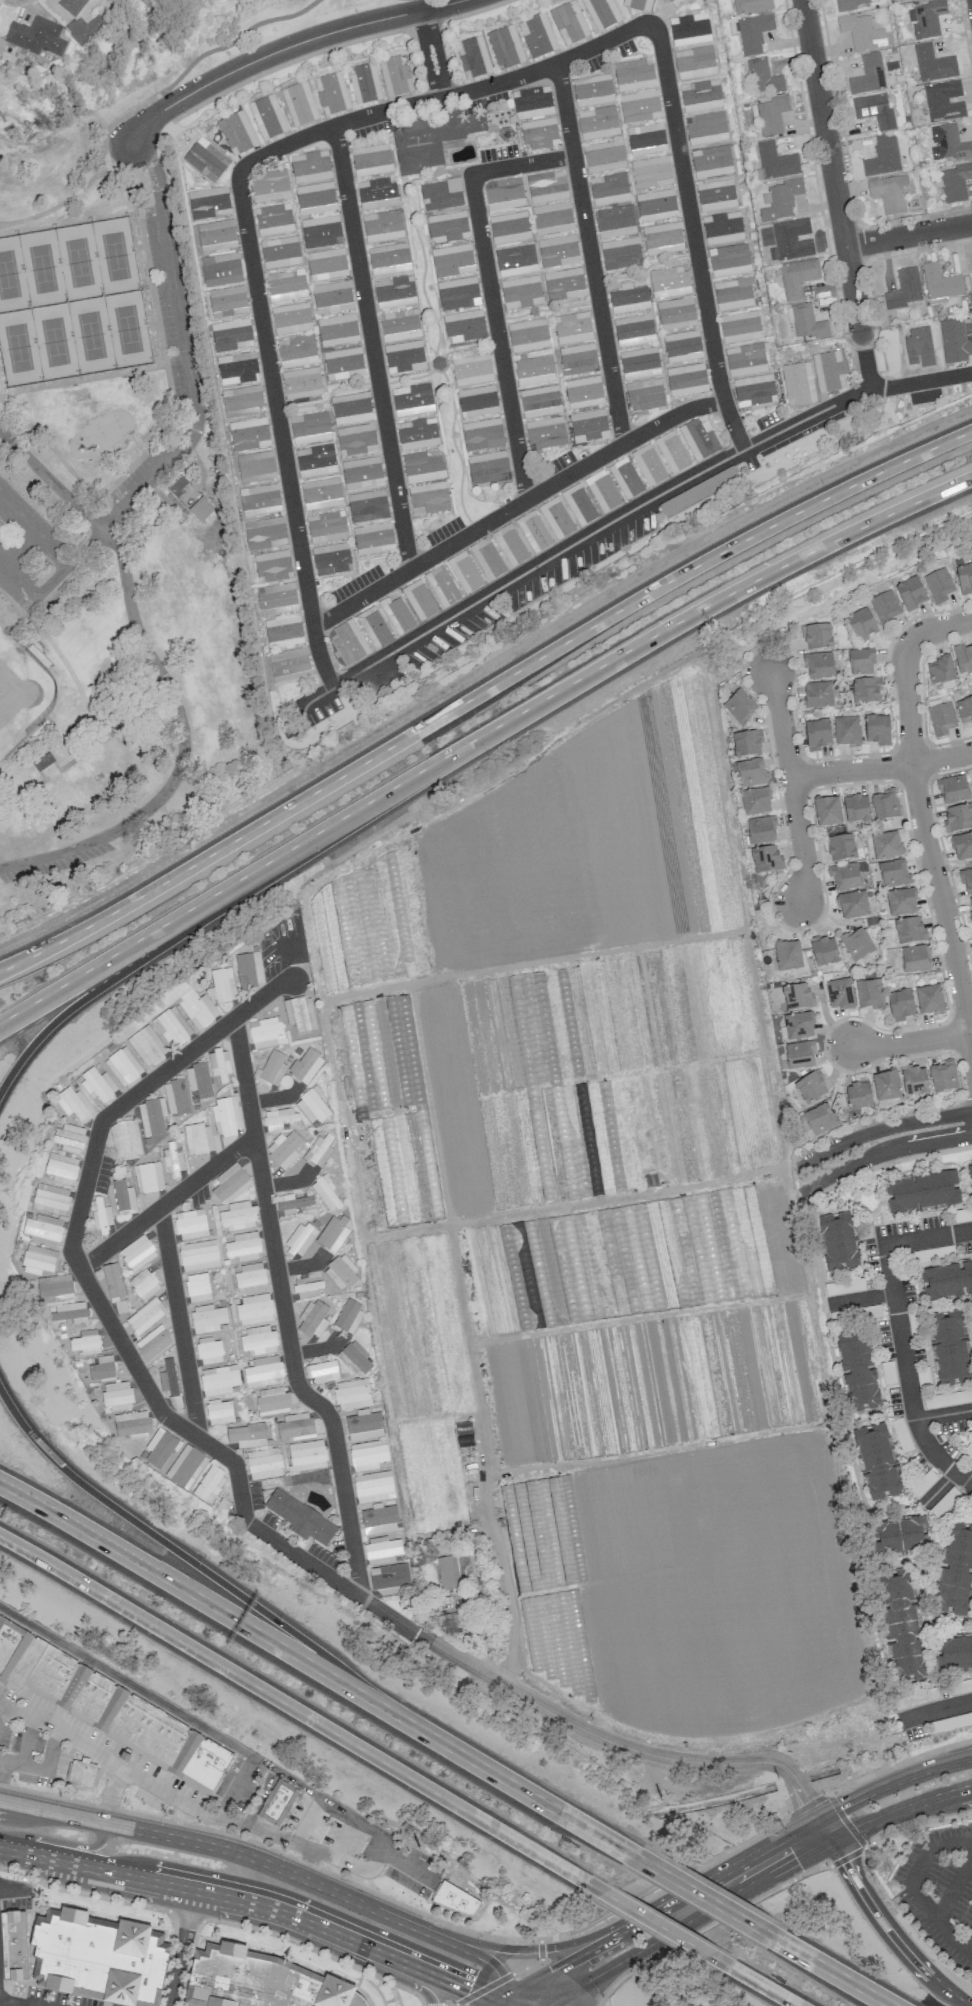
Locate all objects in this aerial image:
building: (675, 2)
building: (638, 4)
building: (849, 4)
building: (71, 6)
building: (751, 6)
building: (601, 13)
building: (926, 19)
building: (569, 23)
building: (84, 28)
building: (689, 29)
building: (861, 32)
building: (753, 33)
building: (537, 35)
building: (36, 37)
road: (231, 39)
road: (306, 39)
building: (505, 47)
road: (432, 53)
building: (473, 57)
building: (694, 62)
building: (933, 64)
building: (634, 75)
building: (869, 75)
building: (395, 77)
building: (762, 77)
building: (365, 83)
building: (593, 90)
building: (331, 93)
building: (700, 95)
building: (944, 101)
building: (532, 102)
building: (299, 104)
road: (406, 106)
building: (639, 106)
building: (873, 110)
building: (772, 115)
building: (267, 117)
building: (597, 123)
road: (145, 124)
building: (706, 128)
building: (236, 133)
building: (539, 133)
building: (430, 139)
building: (646, 139)
building: (947, 144)
building: (603, 156)
building: (882, 157)
building: (206, 160)
building: (371, 160)
building: (711, 161)
building: (775, 162)
building: (310, 167)
road: (100, 169)
building: (651, 172)
road: (832, 175)
building: (955, 182)
building: (269, 186)
building: (547, 187)
building: (609, 189)
building: (377, 193)
building: (888, 193)
building: (441, 194)
building: (503, 194)
building: (715, 195)
building: (315, 198)
building: (781, 200)
building: (209, 203)
building: (656, 205)
building: (552, 218)
building: (273, 220)
building: (614, 221)
building: (382, 226)
building: (447, 227)
building: (509, 227)
building: (722, 228)
building: (320, 231)
road: (908, 235)
building: (216, 236)
building: (662, 238)
building: (791, 240)
building: (557, 251)
building: (280, 252)
building: (620, 253)
park: (114, 254)
road: (591, 255)
building: (389, 259)
park: (78, 260)
building: (452, 260)
building: (516, 260)
building: (729, 260)
building: (326, 264)
park: (41, 266)
building: (220, 270)
building: (971, 273)
park: (11, 275)
building: (797, 277)
building: (939, 284)
building: (286, 285)
building: (564, 285)
building: (904, 289)
road: (492, 290)
building: (394, 292)
building: (521, 292)
building: (457, 293)
building: (733, 293)
building: (332, 297)
building: (628, 299)
building: (227, 302)
parking lot: (171, 307)
building: (676, 313)
building: (291, 318)
building: (807, 322)
building: (399, 325)
building: (464, 326)
park: (127, 327)
building: (572, 327)
building: (739, 327)
building: (337, 330)
building: (634, 330)
park: (90, 334)
building: (231, 335)
building: (528, 335)
park: (54, 340)
building: (954, 342)
building: (682, 346)
park: (18, 347)
building: (919, 347)
road: (374, 348)
building: (296, 351)
building: (404, 356)
building: (577, 359)
building: (745, 359)
building: (343, 363)
building: (639, 363)
building: (236, 368)
building: (472, 369)
building: (534, 369)
building: (828, 371)
building: (686, 380)
road: (920, 382)
building: (301, 383)
building: (798, 384)
building: (753, 390)
building: (583, 392)
building: (644, 395)
building: (242, 398)
building: (412, 399)
building: (477, 401)
building: (540, 401)
road: (172, 406)
building: (351, 408)
road: (195, 418)
building: (588, 426)
road: (734, 427)
building: (310, 428)
building: (417, 433)
building: (545, 433)
building: (248, 434)
building: (482, 434)
building: (699, 439)
building: (356, 440)
building: (672, 452)
building: (315, 460)
building: (256, 465)
building: (648, 465)
building: (422, 467)
building: (488, 468)
building: (361, 473)
park: (117, 477)
building: (625, 478)
building: (176, 485)
building: (602, 491)
building: (321, 494)
building: (428, 498)
building: (163, 499)
building: (259, 500)
building: (579, 505)
building: (367, 506)
building: (201, 509)
road: (514, 510)
building: (556, 518)
building: (326, 527)
road: (598, 530)
building: (533, 532)
building: (265, 533)
road: (32, 534)
building: (373, 539)
building: (510, 545)
parking lot: (24, 547)
building: (331, 559)
building: (487, 559)
building: (272, 566)
building: (464, 572)
building: (964, 579)
building: (938, 585)
building: (442, 586)
road: (847, 588)
building: (911, 593)
park: (835, 596)
building: (277, 599)
building: (419, 600)
building: (885, 607)
building: (397, 615)
building: (861, 624)
building: (373, 627)
road: (937, 628)
building: (283, 631)
road: (138, 632)
building: (817, 637)
building: (347, 644)
road: (762, 655)
road: (321, 659)
building: (963, 659)
building: (861, 662)
building: (289, 665)
building: (818, 665)
building: (940, 670)
road: (562, 690)
park: (16, 691)
road: (480, 691)
building: (866, 691)
building: (818, 695)
building: (738, 705)
road: (87, 709)
building: (941, 719)
building: (876, 729)
building: (847, 731)
building: (818, 734)
building: (746, 744)
building: (42, 762)
road: (881, 766)
building: (751, 772)
road: (791, 786)
building: (953, 789)
building: (755, 802)
building: (885, 805)
building: (856, 809)
building: (827, 811)
building: (958, 818)
building: (761, 830)
building: (886, 845)
building: (962, 846)
building: (841, 848)
road: (928, 853)
road: (50, 855)
parking lot: (52, 859)
building: (766, 859)
building: (893, 874)
building: (844, 876)
building: (966, 879)
building: (901, 902)
building: (853, 904)
building: (970, 905)
building: (909, 930)
building: (856, 944)
building: (824, 950)
building: (787, 955)
building: (915, 959)
building: (248, 969)
road: (83, 976)
building: (222, 985)
building: (839, 993)
building: (869, 994)
building: (797, 997)
building: (929, 1000)
building: (900, 1004)
road: (76, 1005)
building: (197, 1008)
building: (300, 1014)
building: (588, 1024)
building: (798, 1025)
building: (171, 1027)
building: (266, 1032)
road: (911, 1042)
building: (147, 1046)
building: (799, 1055)
building: (218, 1064)
building: (305, 1065)
building: (122, 1066)
building: (271, 1069)
building: (943, 1076)
building: (198, 1079)
building: (913, 1080)
building: (97, 1085)
building: (886, 1086)
building: (809, 1088)
building: (858, 1095)
building: (176, 1097)
building: (73, 1104)
building: (312, 1105)
building: (152, 1116)
building: (226, 1116)
building: (279, 1118)
building: (819, 1120)
road: (879, 1132)
building: (69, 1138)
building: (198, 1139)
building: (125, 1140)
building: (284, 1149)
building: (320, 1149)
road: (881, 1150)
building: (172, 1160)
building: (60, 1168)
building: (970, 1175)
building: (148, 1177)
building: (229, 1182)
building: (925, 1192)
building: (326, 1194)
building: (123, 1198)
building: (50, 1199)
road: (166, 1201)
building: (292, 1203)
building: (101, 1216)
building: (237, 1216)
building: (190, 1224)
building: (43, 1230)
building: (333, 1234)
building: (840, 1238)
building: (299, 1239)
crop: (596, 1242)
building: (243, 1247)
building: (137, 1253)
building: (198, 1255)
building: (38, 1260)
building: (341, 1272)
building: (250, 1278)
building: (762, 1282)
building: (948, 1282)
building: (144, 1284)
building: (113, 1286)
building: (197, 1287)
building: (55, 1288)
building: (307, 1290)
road: (93, 1294)
road: (860, 1298)
building: (254, 1309)
building: (70, 1312)
building: (348, 1315)
building: (145, 1316)
building: (207, 1318)
building: (312, 1319)
road: (178, 1320)
road: (900, 1334)
building: (257, 1340)
building: (85, 1342)
building: (153, 1343)
road: (290, 1347)
building: (951, 1349)
building: (208, 1350)
building: (355, 1358)
building: (102, 1368)
building: (263, 1372)
building: (322, 1372)
building: (859, 1372)
building: (168, 1378)
building: (218, 1380)
building: (352, 1394)
building: (116, 1396)
building: (272, 1401)
building: (219, 1412)
road: (943, 1414)
building: (131, 1424)
building: (361, 1424)
building: (295, 1426)
building: (247, 1435)
building: (160, 1449)
building: (367, 1455)
building: (306, 1456)
building: (880, 1461)
building: (264, 1463)
building: (186, 1466)
road: (969, 1476)
building: (209, 1483)
building: (373, 1486)
road: (939, 1488)
building: (300, 1517)
building: (379, 1518)
building: (903, 1538)
building: (381, 1550)
building: (447, 1572)
building: (956, 1573)
building: (390, 1579)
road: (232, 1590)
road: (244, 1626)
building: (902, 1628)
road: (486, 1638)
building: (954, 1655)
building: (107, 1707)
road: (935, 1709)
road: (304, 1715)
road: (63, 1731)
road: (620, 1745)
building: (123, 1756)
road: (11, 1761)
road: (898, 1763)
road: (33, 1766)
road: (2, 1770)
building: (81, 1774)
road: (891, 1782)
parking lot: (167, 1792)
road: (238, 1792)
road: (169, 1796)
road: (112, 1797)
building: (277, 1802)
traffic signals: (803, 1802)
traffic signals: (841, 1807)
road: (899, 1809)
road: (842, 1817)
road: (571, 1820)
road: (915, 1821)
road: (355, 1822)
road: (308, 1824)
road: (823, 1830)
road: (754, 1836)
road: (344, 1840)
road: (189, 1841)
road: (60, 1842)
road: (299, 1845)
road: (384, 1849)
road: (284, 1854)
road: (800, 1857)
road: (379, 1860)
traffic signals: (796, 1860)
traffic signals: (846, 1863)
road: (409, 1868)
road: (724, 1873)
road: (916, 1889)
road: (954, 1889)
road: (13, 1890)
parking lot: (940, 1890)
road: (698, 1893)
road: (641, 1896)
building: (454, 1898)
road: (257, 1905)
road: (649, 1920)
road: (218, 1921)
road: (707, 1924)
road: (887, 1929)
road: (656, 1939)
building: (14, 1945)
road: (452, 1946)
road: (500, 1947)
traffic signals: (553, 1947)
road: (181, 1948)
building: (102, 1959)
road: (360, 1962)
road: (816, 1962)
road: (561, 1967)
traffic signals: (560, 1968)
road: (744, 1975)
building: (259, 1981)
road: (481, 1989)
traffic signals: (467, 1991)
road: (13, 2003)
road: (438, 2005)

